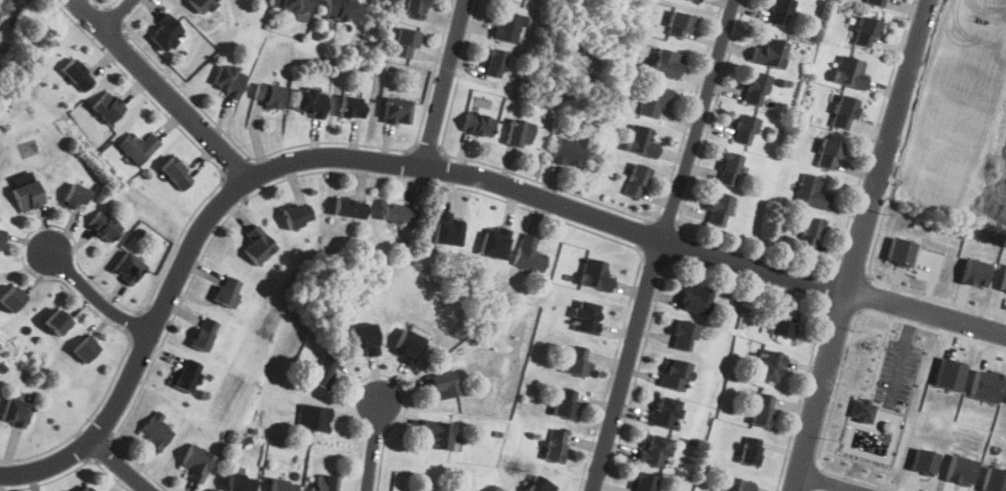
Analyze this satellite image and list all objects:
building: (695, 1)
building: (876, 3)
building: (201, 4)
building: (296, 6)
building: (414, 8)
building: (340, 10)
building: (779, 12)
road: (118, 14)
building: (679, 25)
building: (508, 26)
building: (866, 33)
building: (165, 34)
building: (405, 42)
building: (770, 53)
building: (494, 63)
building: (667, 64)
building: (850, 72)
building: (77, 76)
building: (228, 80)
road: (445, 82)
road: (163, 88)
building: (754, 89)
building: (268, 95)
building: (654, 101)
building: (310, 102)
building: (351, 107)
building: (106, 108)
building: (396, 111)
building: (844, 113)
building: (476, 124)
building: (743, 130)
building: (519, 134)
building: (641, 141)
building: (137, 147)
building: (569, 152)
building: (828, 155)
road: (435, 167)
building: (729, 169)
building: (173, 174)
building: (635, 181)
building: (811, 193)
building: (26, 196)
building: (75, 197)
building: (349, 209)
building: (718, 210)
building: (397, 214)
building: (297, 216)
building: (103, 226)
building: (447, 229)
building: (809, 235)
building: (1, 237)
building: (495, 242)
road: (859, 244)
road: (663, 245)
building: (257, 246)
building: (900, 251)
building: (528, 256)
building: (127, 268)
building: (974, 272)
building: (595, 276)
building: (1003, 280)
building: (227, 292)
road: (95, 297)
building: (10, 300)
building: (694, 301)
building: (586, 317)
building: (56, 323)
building: (782, 323)
building: (203, 334)
building: (683, 336)
building: (364, 338)
building: (408, 345)
building: (84, 350)
building: (576, 361)
building: (767, 366)
building: (323, 372)
building: (948, 374)
building: (675, 375)
building: (186, 376)
building: (984, 385)
building: (442, 386)
building: (565, 403)
building: (861, 410)
building: (15, 411)
building: (762, 411)
building: (665, 412)
building: (312, 418)
building: (156, 431)
building: (438, 434)
road: (375, 440)
building: (556, 446)
building: (654, 451)
building: (750, 452)
building: (924, 461)
building: (196, 463)
road: (118, 465)
building: (960, 469)
building: (994, 479)
road: (832, 481)
building: (240, 482)
building: (642, 482)
building: (324, 483)
building: (539, 484)
building: (283, 485)
building: (735, 485)
building: (85, 489)

